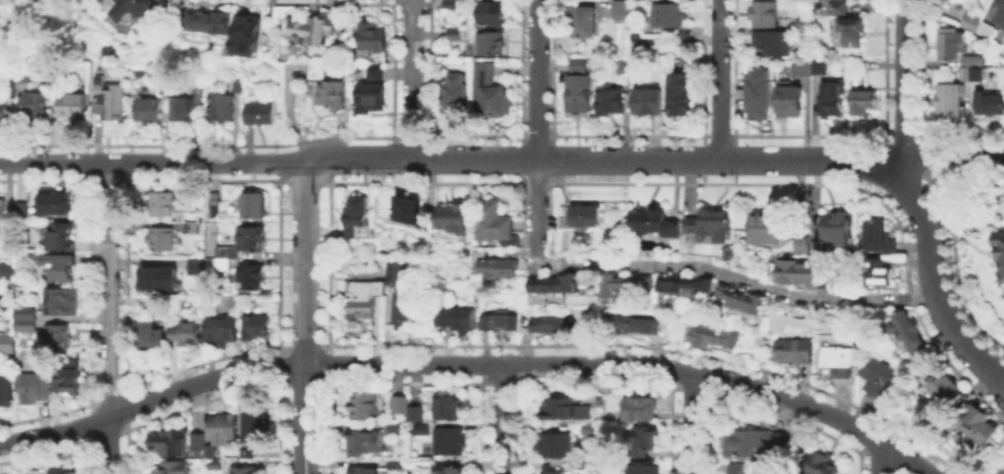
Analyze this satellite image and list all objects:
building: (820, 0)
building: (116, 2)
building: (451, 4)
building: (137, 8)
building: (622, 8)
building: (837, 8)
building: (491, 13)
building: (998, 13)
building: (763, 15)
building: (207, 20)
building: (583, 22)
building: (672, 23)
building: (970, 23)
building: (269, 28)
building: (314, 29)
building: (806, 29)
building: (852, 31)
building: (245, 32)
building: (453, 35)
building: (373, 42)
building: (490, 43)
building: (771, 45)
building: (949, 45)
building: (234, 48)
building: (578, 66)
building: (623, 67)
building: (855, 67)
building: (801, 68)
building: (819, 68)
building: (972, 69)
building: (371, 72)
building: (317, 73)
building: (23, 76)
road: (408, 79)
road: (535, 79)
road: (715, 79)
road: (903, 80)
building: (236, 88)
building: (10, 89)
building: (488, 93)
building: (372, 94)
building: (457, 94)
building: (679, 94)
building: (332, 95)
building: (578, 95)
building: (758, 95)
building: (109, 101)
building: (611, 101)
building: (789, 102)
building: (861, 102)
building: (949, 102)
building: (647, 103)
building: (830, 103)
building: (71, 105)
building: (989, 105)
building: (35, 106)
building: (186, 107)
building: (220, 108)
building: (4, 112)
building: (258, 112)
building: (148, 113)
road: (953, 153)
road: (509, 159)
road: (809, 160)
road: (152, 162)
building: (56, 203)
building: (216, 204)
road: (535, 205)
building: (162, 206)
building: (256, 207)
building: (405, 207)
building: (23, 211)
building: (356, 213)
building: (1, 214)
building: (563, 218)
building: (583, 219)
building: (453, 221)
building: (492, 221)
building: (655, 224)
building: (229, 226)
building: (710, 226)
building: (836, 227)
building: (765, 229)
building: (877, 237)
building: (62, 238)
building: (159, 238)
building: (251, 239)
building: (801, 247)
building: (821, 248)
building: (227, 252)
building: (1000, 254)
road: (304, 263)
building: (194, 264)
building: (222, 266)
building: (499, 269)
building: (58, 270)
building: (6, 271)
building: (796, 272)
building: (395, 273)
building: (872, 273)
road: (733, 277)
building: (161, 278)
building: (250, 278)
building: (626, 282)
road: (932, 283)
building: (554, 284)
building: (686, 284)
building: (360, 299)
building: (740, 299)
building: (58, 303)
building: (403, 306)
road: (109, 318)
building: (26, 320)
building: (455, 320)
building: (498, 324)
building: (547, 324)
building: (255, 327)
building: (635, 327)
building: (221, 329)
building: (907, 332)
building: (186, 335)
building: (58, 338)
building: (715, 339)
building: (153, 340)
building: (7, 343)
building: (790, 351)
building: (25, 355)
building: (837, 362)
road: (470, 364)
building: (25, 368)
building: (878, 377)
building: (70, 383)
building: (939, 388)
building: (33, 389)
building: (5, 392)
building: (362, 405)
building: (399, 405)
building: (447, 408)
building: (565, 409)
building: (640, 409)
building: (418, 413)
road: (304, 419)
road: (499, 419)
building: (253, 421)
road: (688, 422)
building: (973, 423)
building: (223, 428)
building: (421, 429)
building: (589, 430)
building: (779, 440)
building: (197, 441)
building: (748, 442)
building: (170, 443)
building: (449, 443)
building: (644, 443)
building: (364, 444)
building: (554, 445)
building: (247, 453)
building: (209, 454)
road: (878, 458)
building: (393, 463)
building: (424, 463)
building: (823, 465)
building: (214, 468)
building: (736, 468)
building: (170, 469)
building: (643, 469)
building: (245, 471)
building: (365, 471)
building: (450, 471)
building: (60, 472)
building: (551, 473)
building: (1003, 473)

